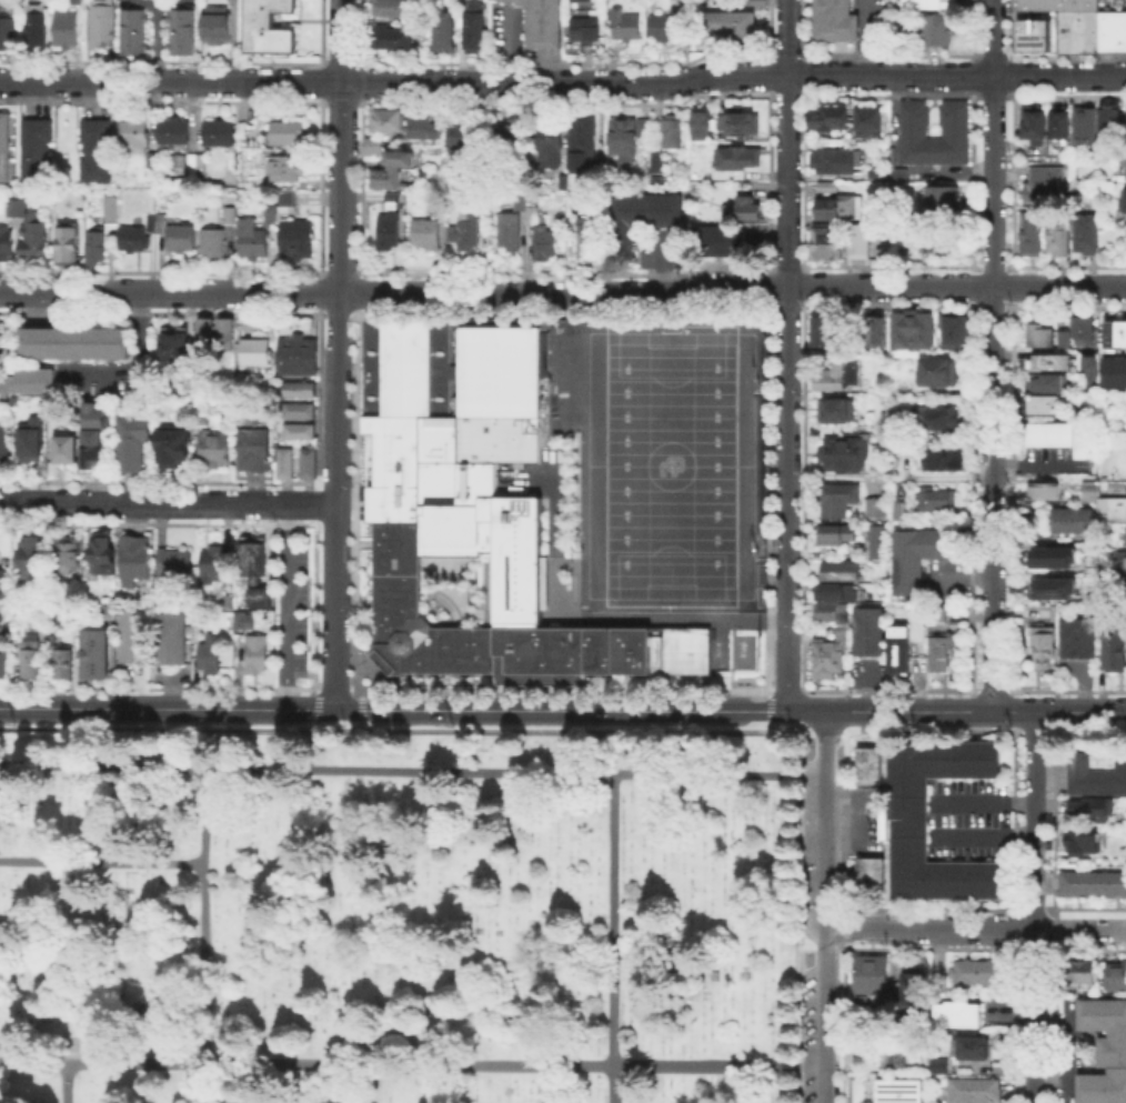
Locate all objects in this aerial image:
building: (573, 0)
building: (927, 3)
building: (1057, 3)
building: (393, 9)
building: (833, 19)
parking lot: (878, 19)
building: (99, 21)
building: (543, 21)
building: (213, 26)
building: (267, 26)
building: (477, 26)
building: (64, 27)
building: (627, 27)
building: (733, 27)
building: (36, 28)
building: (668, 29)
building: (936, 29)
building: (1077, 29)
building: (1112, 29)
building: (131, 30)
building: (179, 30)
building: (589, 31)
building: (7, 32)
building: (1033, 33)
building: (448, 36)
road: (864, 37)
building: (394, 39)
road: (563, 83)
building: (386, 118)
building: (912, 118)
building: (831, 120)
building: (1112, 122)
building: (866, 123)
building: (422, 126)
building: (703, 126)
building: (1063, 127)
building: (743, 128)
building: (1087, 129)
building: (171, 130)
building: (645, 130)
building: (217, 131)
building: (285, 131)
building: (1036, 131)
building: (131, 133)
building: (674, 134)
building: (465, 138)
building: (584, 139)
building: (623, 142)
building: (3, 146)
building: (512, 146)
building: (552, 146)
building: (375, 148)
building: (34, 149)
building: (94, 149)
building: (149, 159)
building: (1123, 159)
building: (175, 161)
building: (193, 162)
building: (742, 162)
building: (657, 164)
building: (835, 164)
building: (283, 167)
building: (396, 170)
building: (896, 173)
building: (876, 174)
building: (254, 181)
building: (1048, 184)
building: (284, 197)
building: (390, 198)
building: (1125, 199)
building: (398, 202)
building: (943, 202)
building: (522, 203)
building: (13, 207)
building: (854, 208)
building: (750, 209)
building: (650, 210)
building: (228, 213)
building: (826, 214)
building: (269, 215)
building: (110, 217)
building: (150, 221)
building: (159, 222)
building: (389, 232)
building: (468, 232)
building: (179, 234)
building: (510, 234)
building: (31, 235)
building: (426, 235)
building: (1036, 235)
building: (1060, 235)
building: (1086, 235)
building: (130, 238)
building: (250, 238)
building: (293, 238)
building: (545, 239)
building: (64, 240)
building: (4, 241)
building: (210, 241)
building: (941, 242)
building: (827, 243)
building: (861, 243)
building: (724, 244)
building: (590, 245)
building: (93, 247)
road: (563, 293)
building: (0, 328)
building: (1082, 329)
building: (877, 332)
building: (915, 332)
building: (956, 332)
building: (1114, 332)
building: (826, 334)
building: (1037, 334)
building: (207, 335)
building: (229, 335)
building: (1062, 338)
building: (74, 342)
building: (177, 350)
building: (261, 350)
road: (338, 353)
building: (301, 354)
road: (785, 354)
road: (992, 354)
building: (1, 355)
road: (139, 359)
building: (1050, 361)
building: (1088, 368)
building: (1114, 371)
building: (936, 374)
building: (834, 375)
building: (28, 380)
building: (1048, 381)
building: (302, 390)
building: (1044, 403)
building: (298, 409)
building: (838, 412)
building: (94, 414)
building: (938, 420)
building: (298, 429)
building: (1062, 435)
building: (34, 442)
building: (4, 443)
building: (133, 444)
building: (91, 445)
building: (174, 449)
building: (257, 450)
building: (68, 451)
building: (218, 451)
building: (844, 455)
building: (284, 460)
building: (306, 461)
building: (945, 461)
park: (670, 464)
building: (1115, 485)
building: (1087, 489)
building: (1043, 490)
building: (840, 497)
building: (935, 500)
road: (167, 502)
building: (869, 505)
building: (877, 509)
building: (1110, 509)
building: (474, 512)
building: (902, 515)
building: (1070, 519)
building: (835, 533)
building: (1125, 533)
building: (873, 541)
building: (879, 543)
building: (71, 555)
building: (1054, 555)
building: (104, 558)
building: (921, 559)
building: (1119, 559)
building: (33, 561)
building: (137, 561)
building: (177, 562)
building: (214, 566)
building: (258, 572)
building: (841, 573)
building: (6, 585)
building: (1052, 586)
building: (832, 593)
road: (295, 605)
building: (105, 609)
building: (830, 612)
building: (243, 620)
building: (869, 634)
building: (1076, 636)
building: (134, 638)
building: (174, 638)
building: (941, 641)
building: (1040, 644)
building: (1113, 649)
building: (95, 652)
building: (901, 652)
building: (260, 655)
building: (32, 658)
building: (831, 658)
building: (213, 660)
building: (66, 664)
building: (4, 668)
road: (165, 708)
road: (559, 708)
road: (803, 710)
road: (906, 710)
road: (1013, 710)
road: (1079, 711)
road: (1056, 718)
road: (1016, 719)
road: (768, 720)
road: (844, 720)
road: (1019, 729)
road: (784, 730)
road: (1034, 730)
road: (1050, 731)
building: (867, 764)
road: (103, 766)
road: (364, 769)
building: (1096, 771)
building: (1090, 809)
building: (908, 819)
road: (1055, 821)
road: (843, 822)
road: (1017, 822)
building: (879, 824)
building: (1083, 839)
building: (869, 875)
building: (1092, 882)
road: (797, 893)
road: (822, 906)
road: (1033, 906)
park: (410, 913)
park: (707, 916)
park: (400, 918)
road: (203, 925)
road: (927, 926)
road: (842, 927)
road: (1079, 927)
road: (1055, 930)
road: (1017, 931)
building: (1083, 971)
building: (978, 972)
building: (874, 974)
building: (1116, 977)
building: (918, 989)
building: (959, 1016)
road: (612, 1017)
road: (841, 1022)
road: (1055, 1023)
road: (1016, 1024)
building: (971, 1049)
building: (1106, 1052)
building: (896, 1057)
road: (53, 1060)
road: (697, 1063)
building: (943, 1067)
park: (330, 1087)
building: (903, 1092)
building: (975, 1092)

